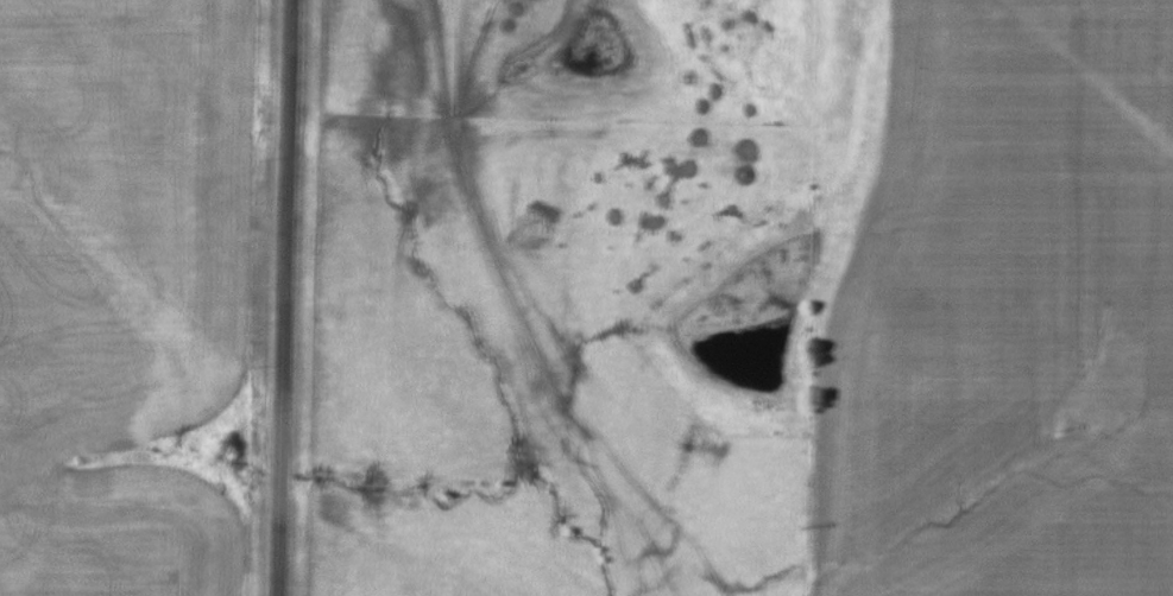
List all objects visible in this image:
road: (283, 298)

